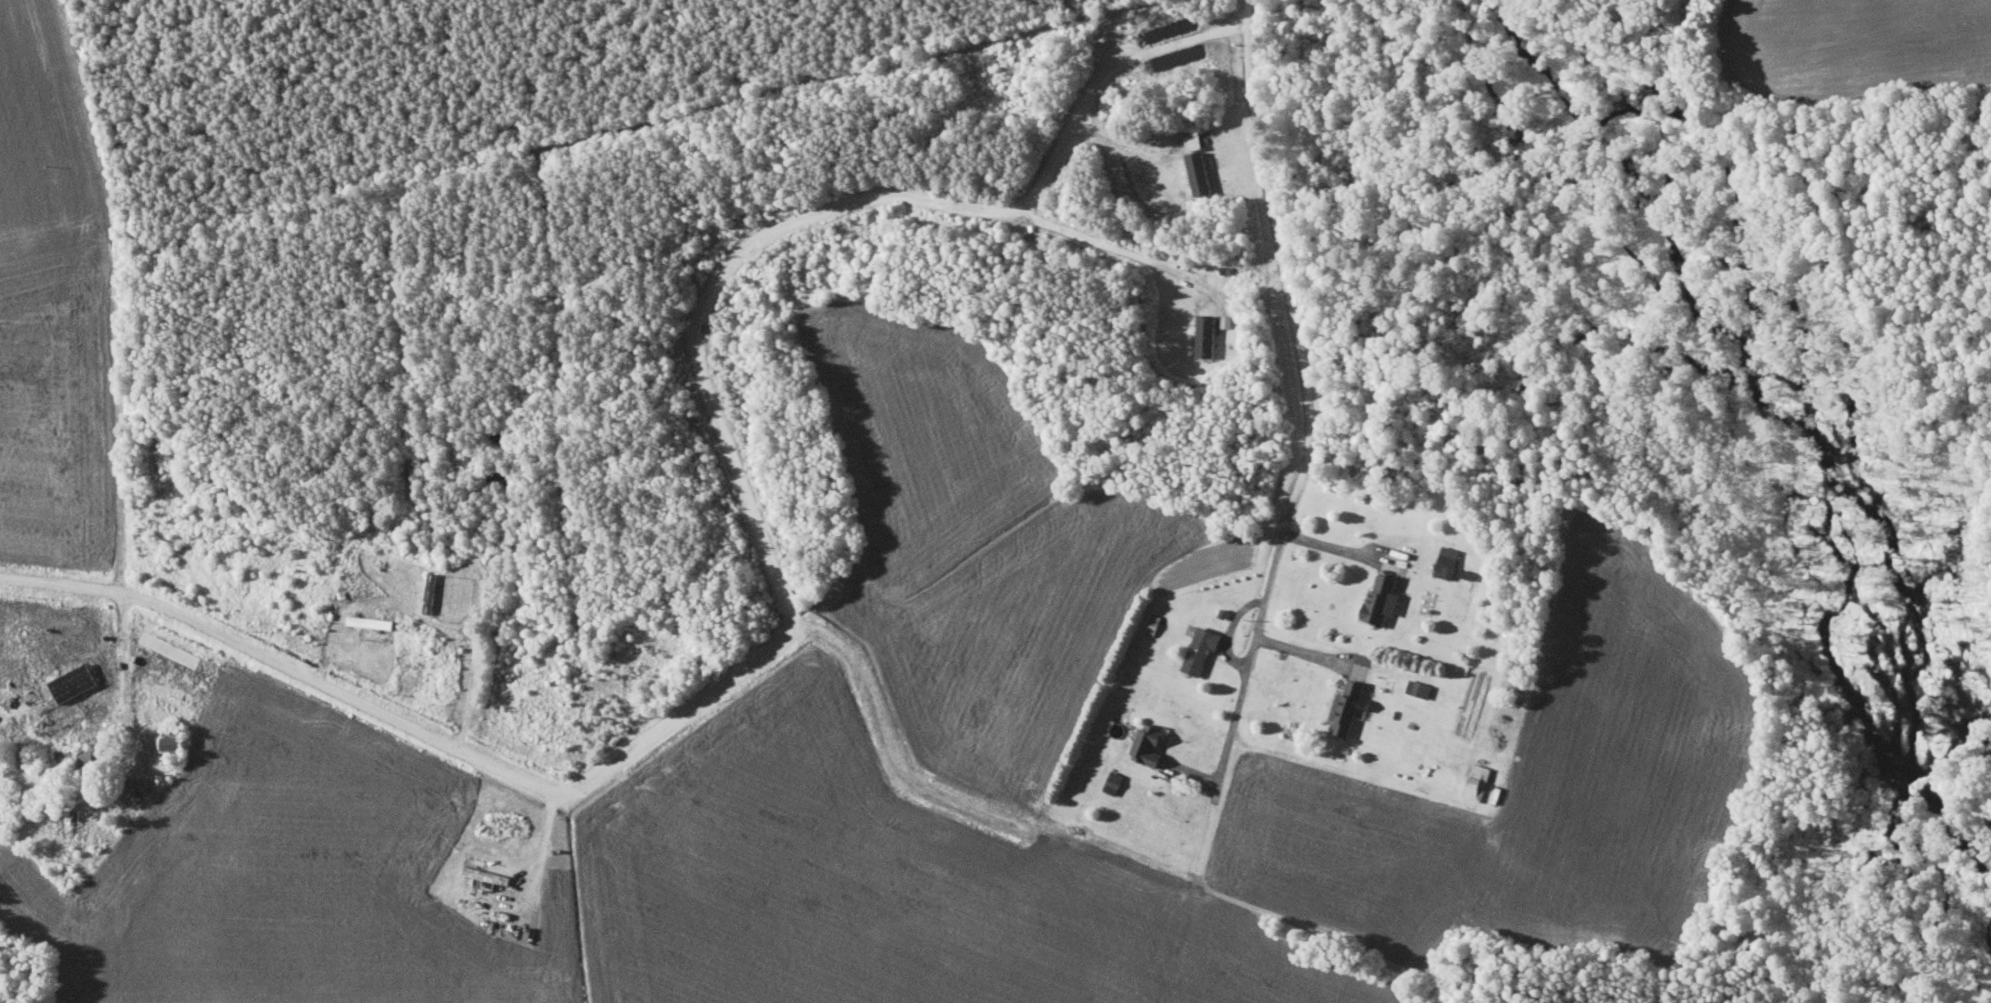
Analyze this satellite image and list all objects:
building: (1200, 173)
road: (1121, 246)
building: (1207, 333)
road: (1305, 411)
road: (1334, 545)
building: (1450, 555)
road: (771, 563)
building: (1386, 592)
building: (372, 621)
building: (1202, 648)
building: (75, 681)
building: (1350, 705)
road: (1233, 718)
building: (176, 741)
building: (1151, 743)
building: (1478, 781)
building: (69, 817)
building: (488, 876)

